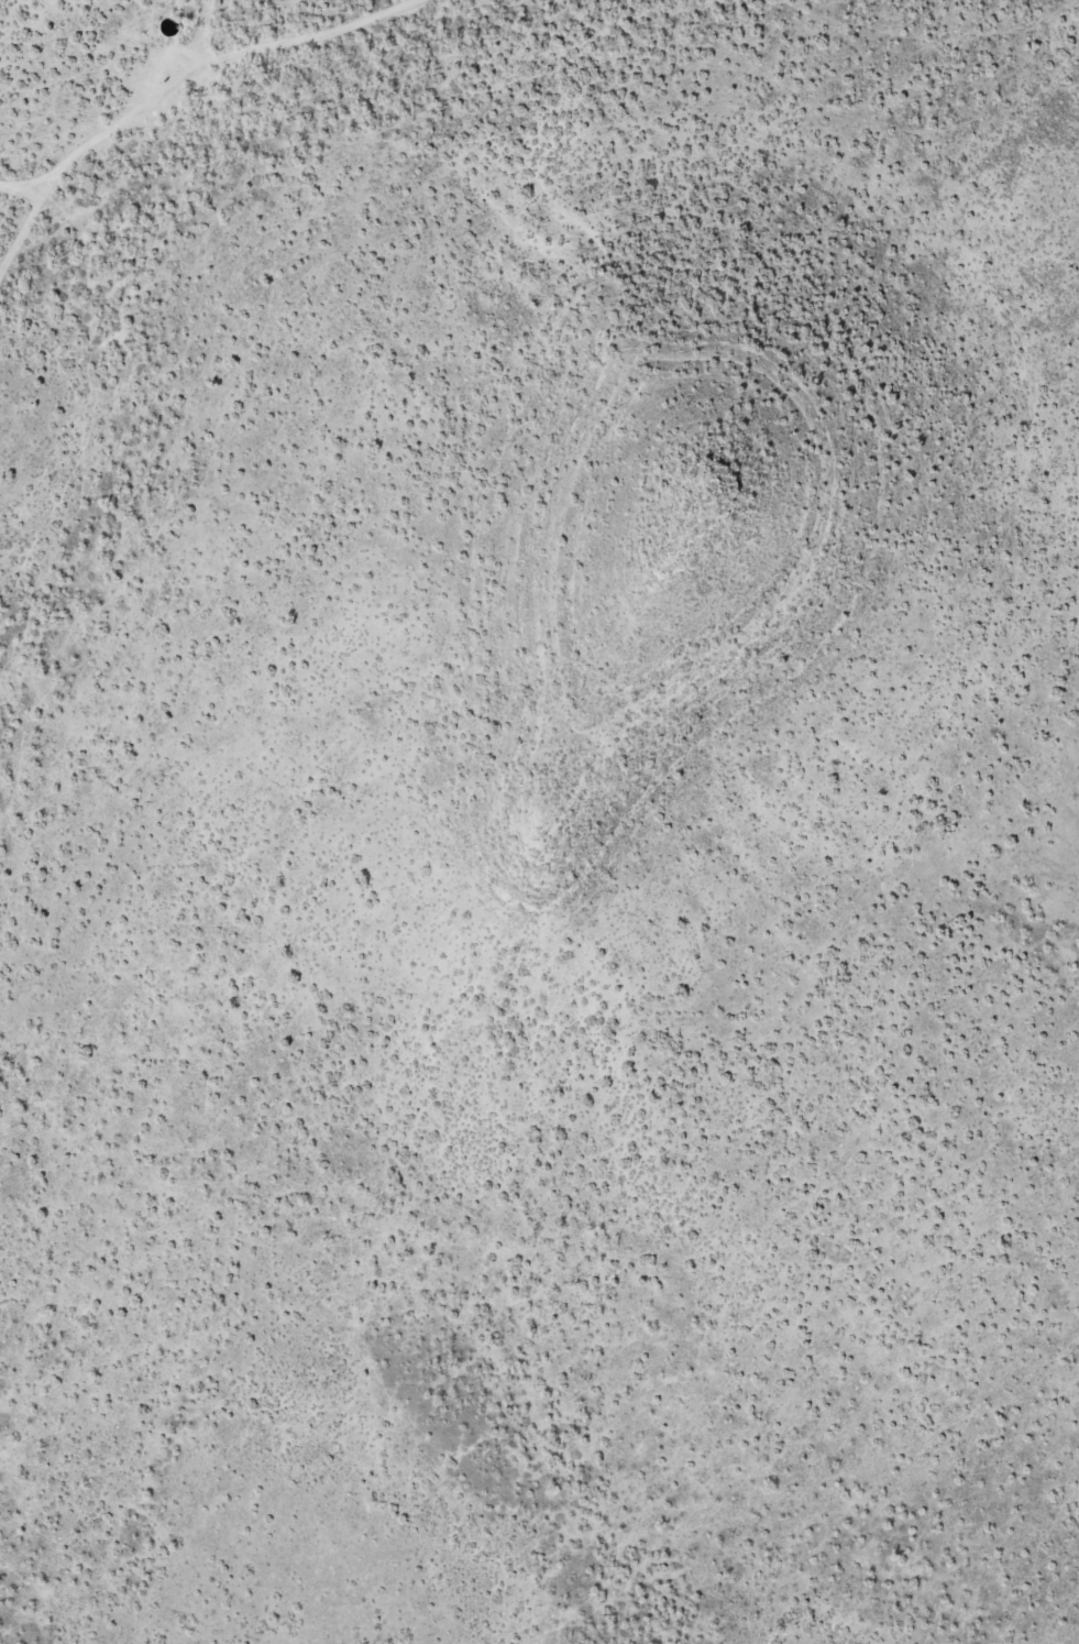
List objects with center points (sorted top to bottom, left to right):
road: (199, 33)
road: (165, 83)
road: (21, 187)

